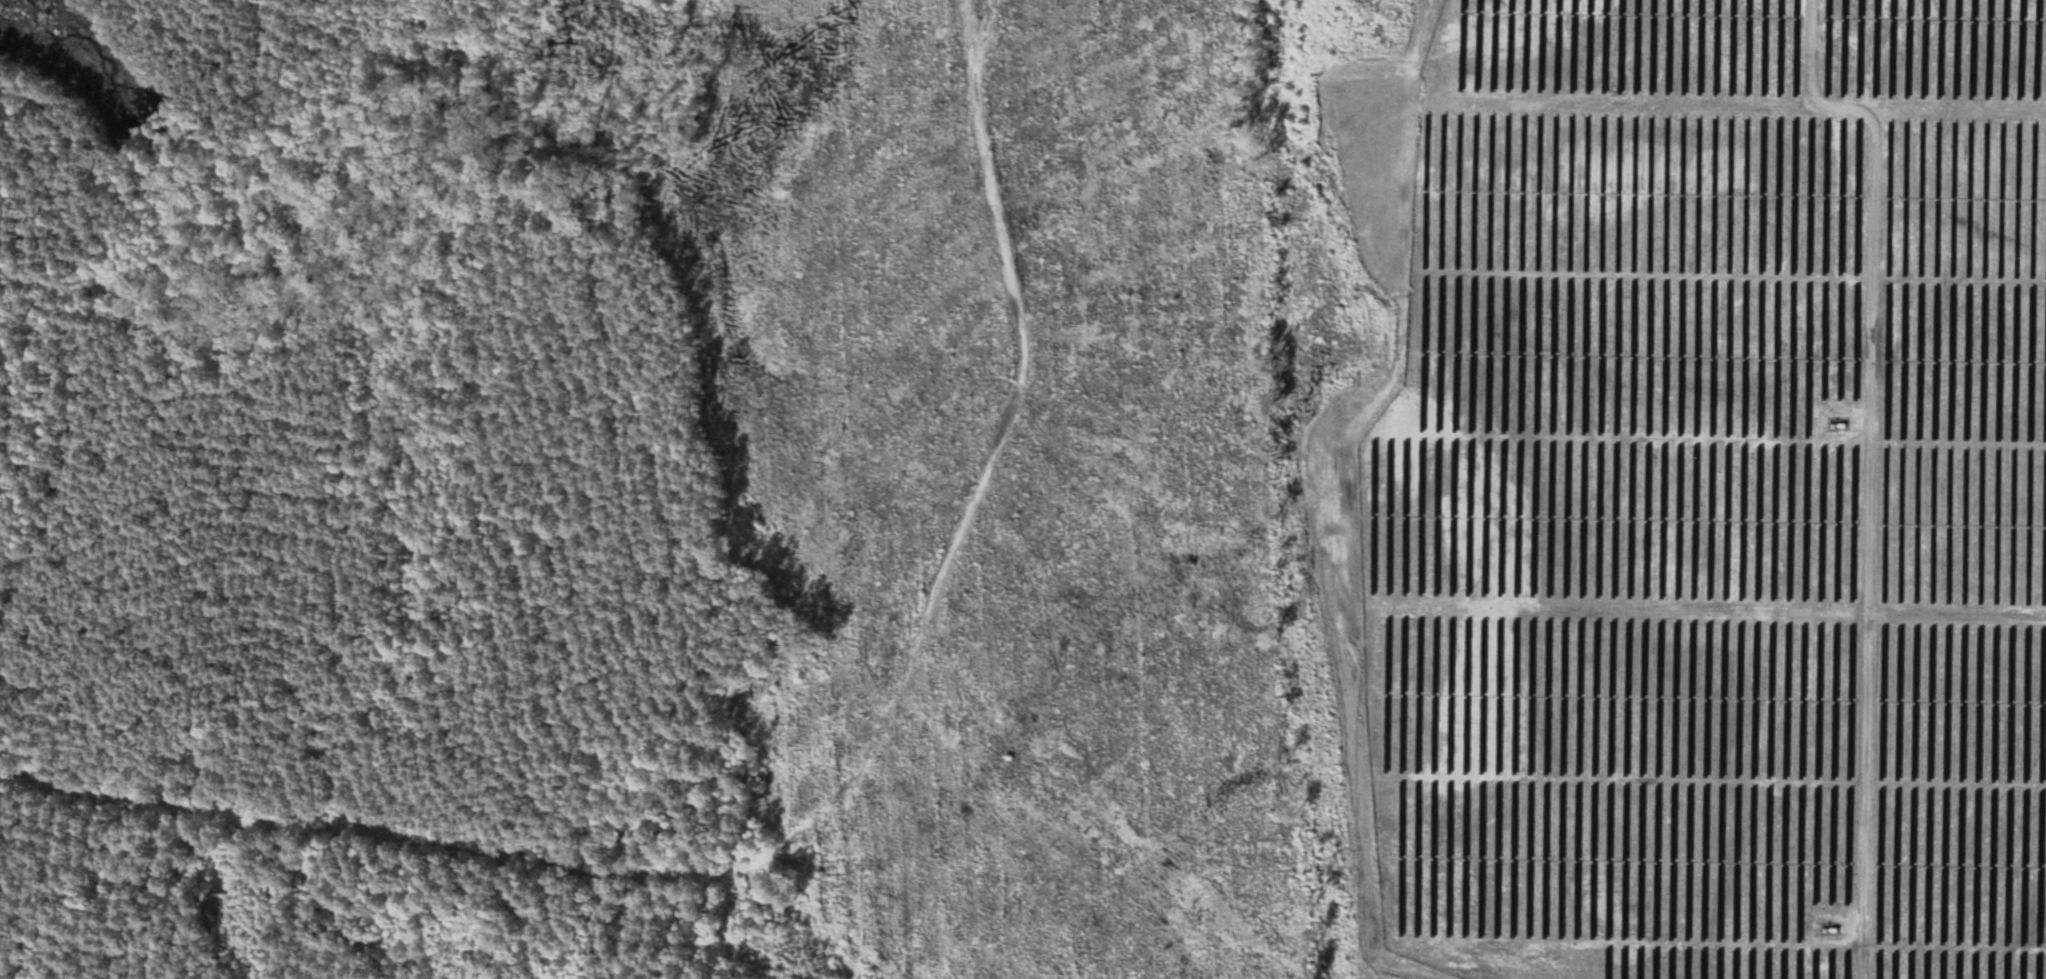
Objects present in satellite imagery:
road: (1894, 15)

